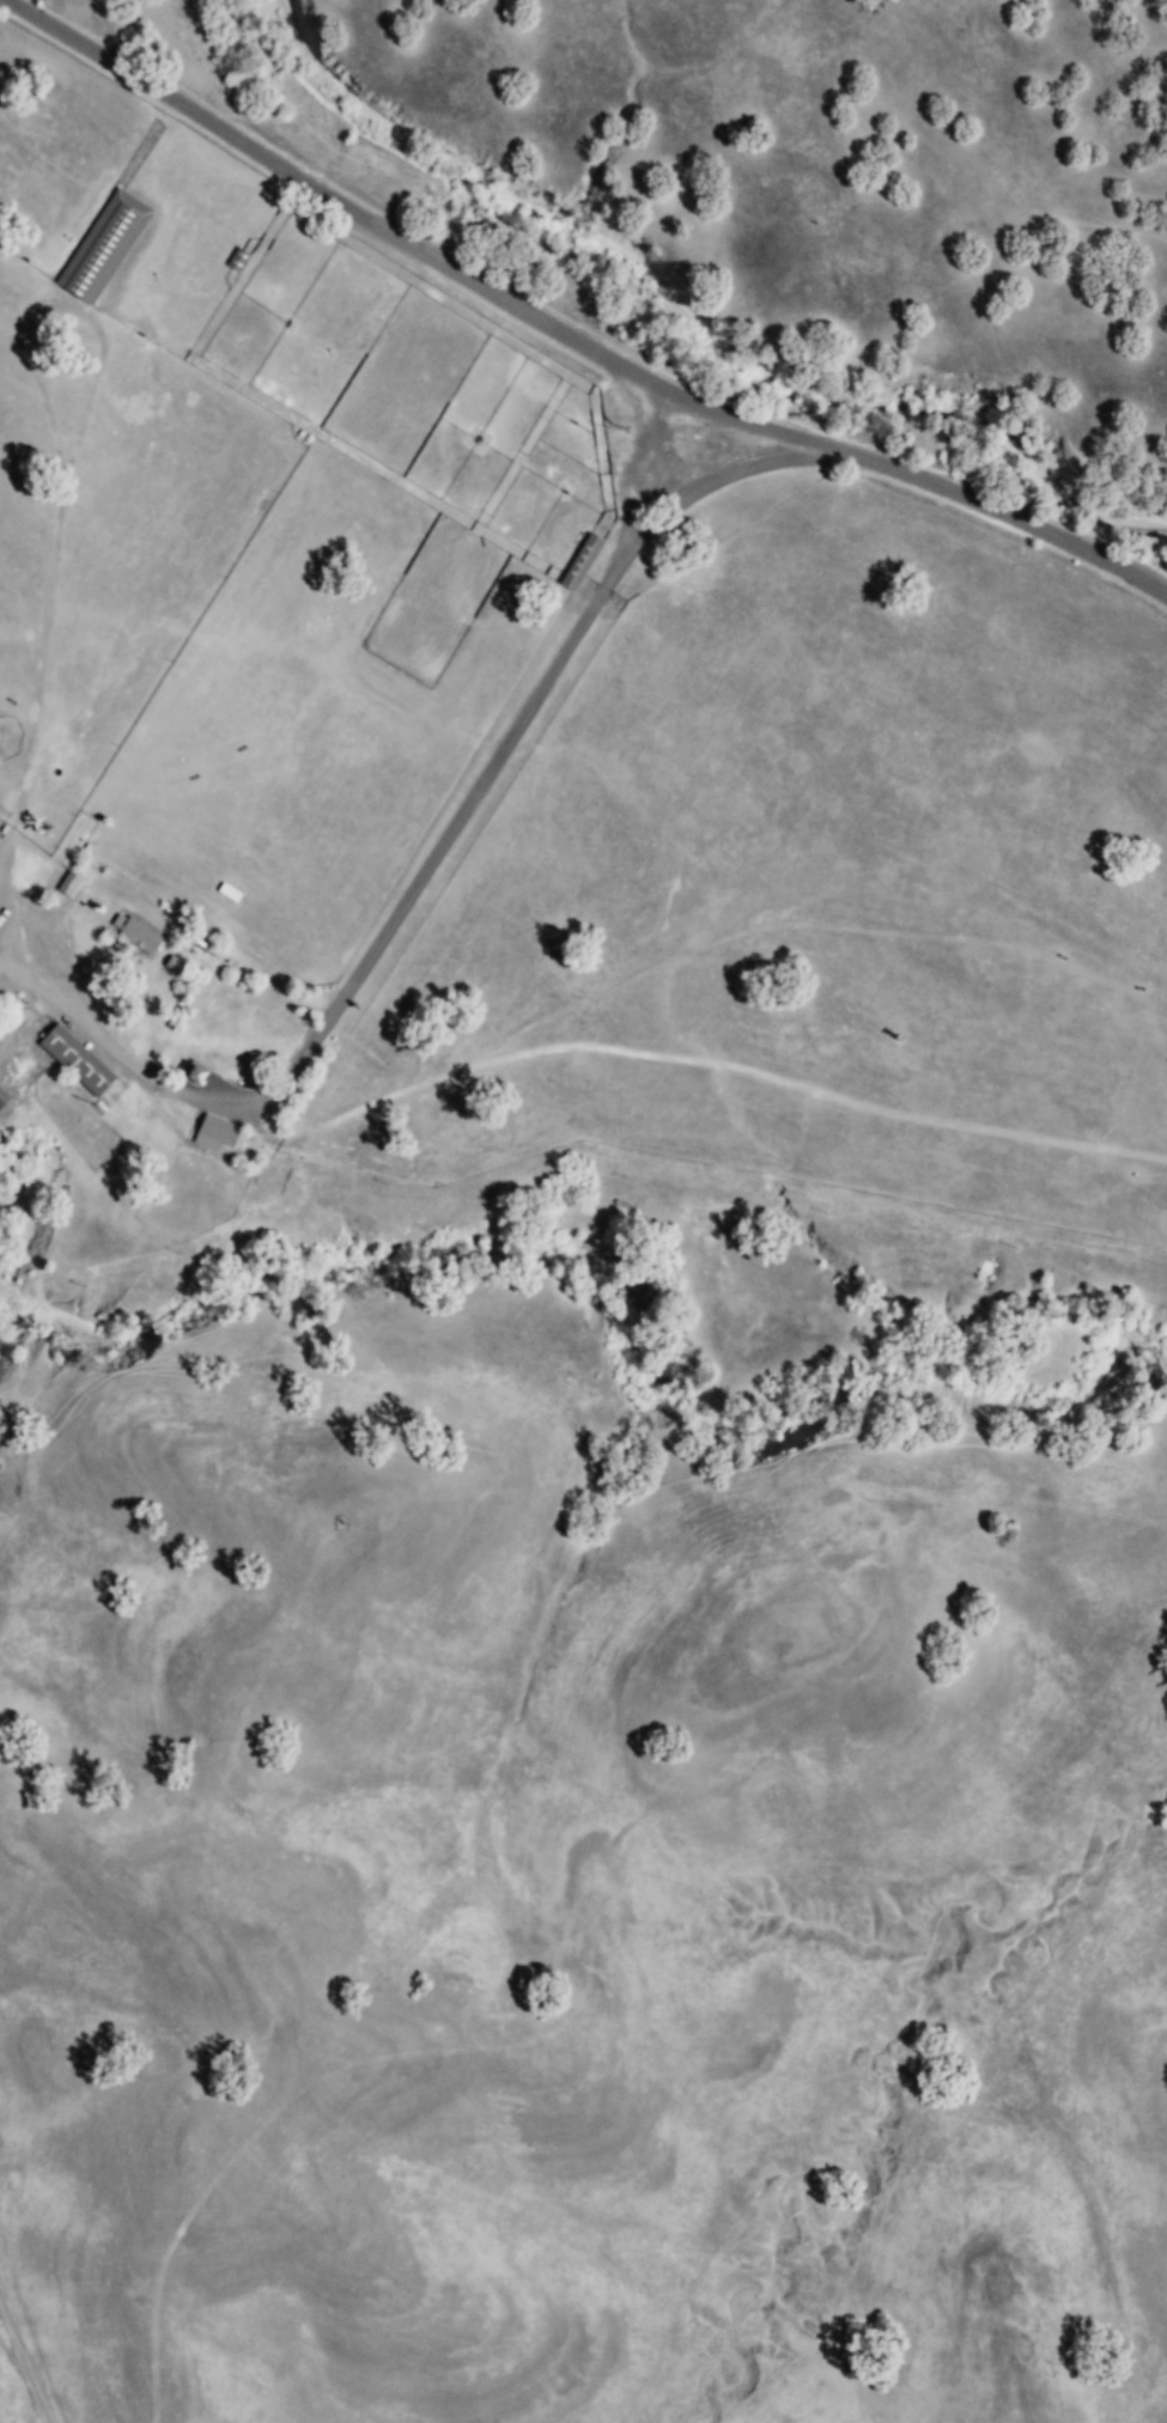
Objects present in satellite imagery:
building: (110, 245)
river: (685, 328)
road: (569, 333)
building: (586, 561)
road: (51, 607)
building: (65, 884)
crop: (814, 885)
road: (414, 890)
road: (825, 926)
building: (132, 933)
building: (170, 964)
building: (72, 1060)
building: (187, 1076)
building: (1, 1098)
road: (823, 1098)
road: (355, 1112)
building: (211, 1133)

